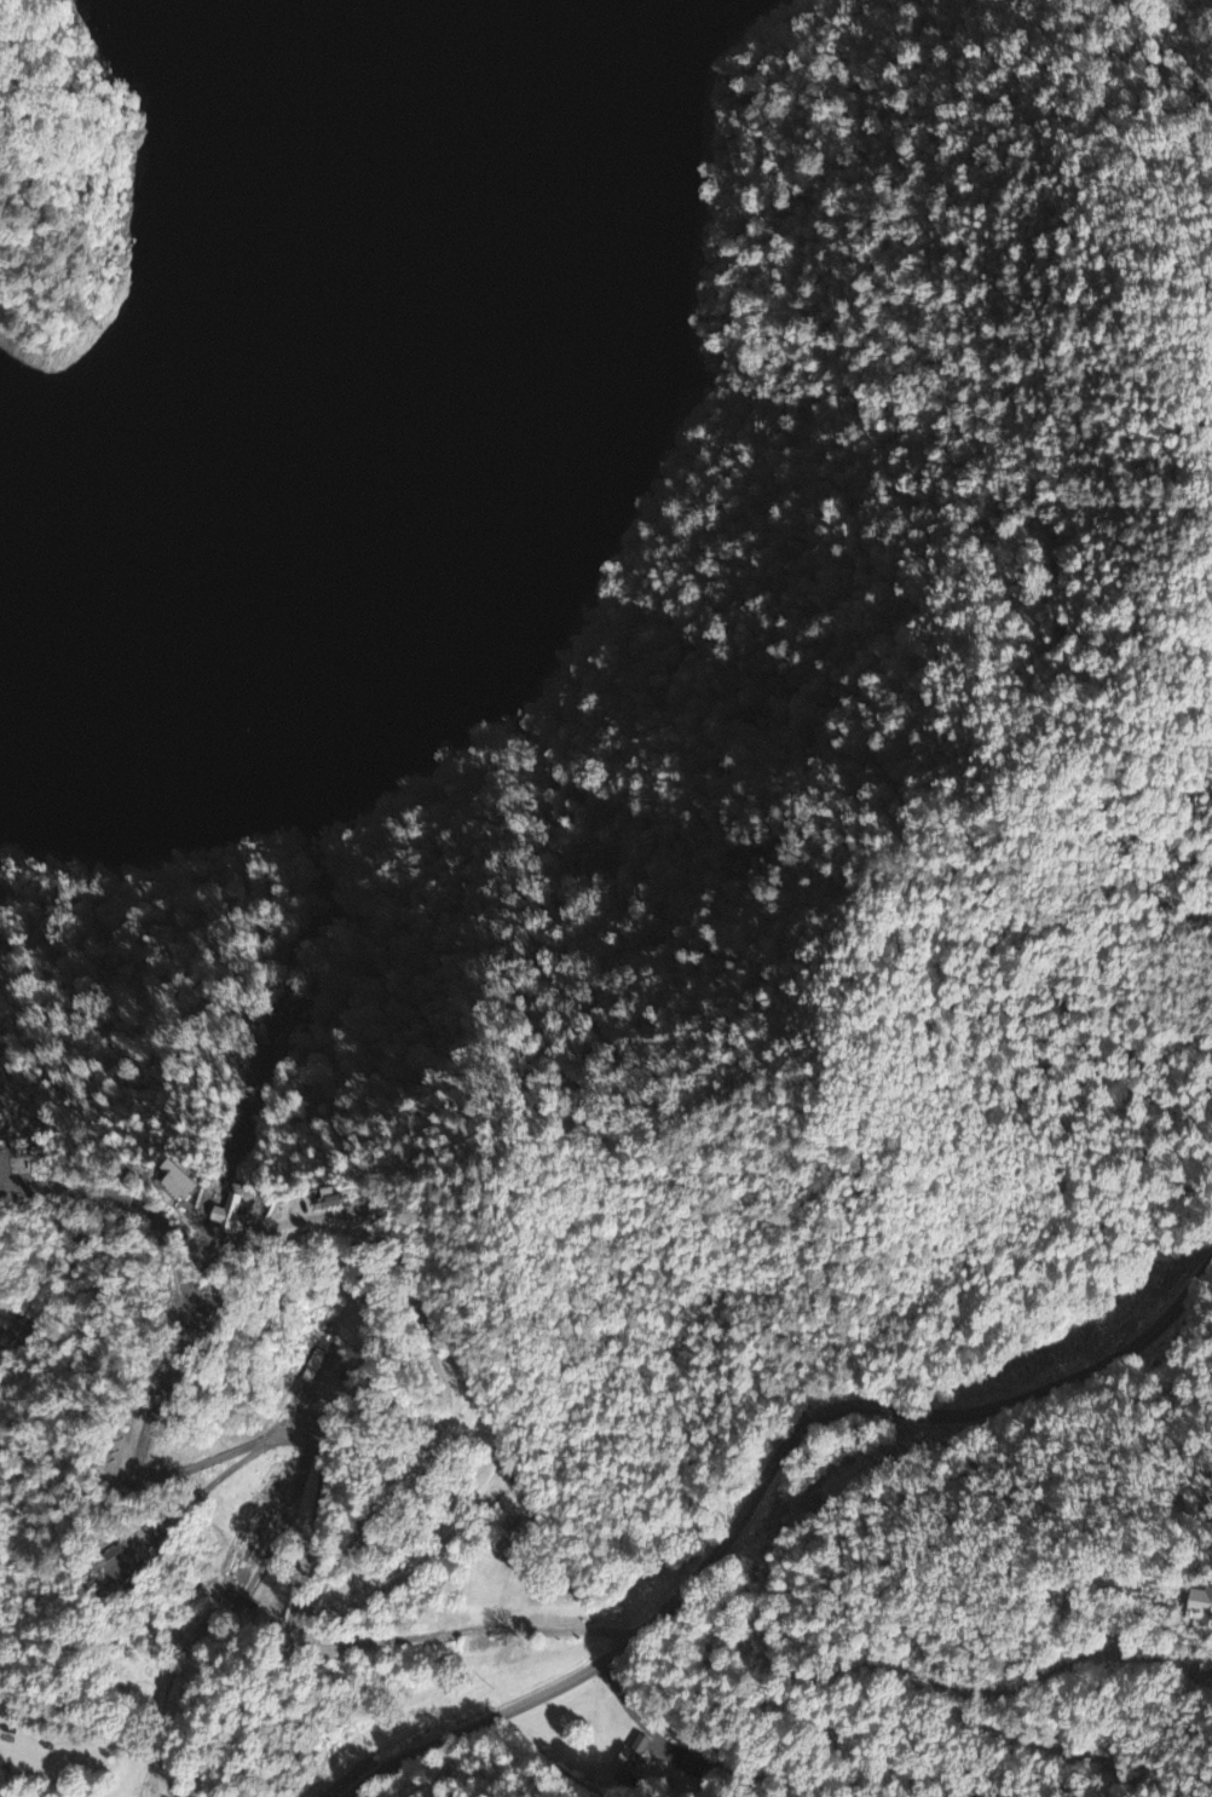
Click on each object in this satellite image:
river: (394, 448)
building: (158, 1185)
building: (314, 1203)
building: (208, 1219)
road: (757, 1491)
building: (1200, 1608)
building: (634, 1758)

